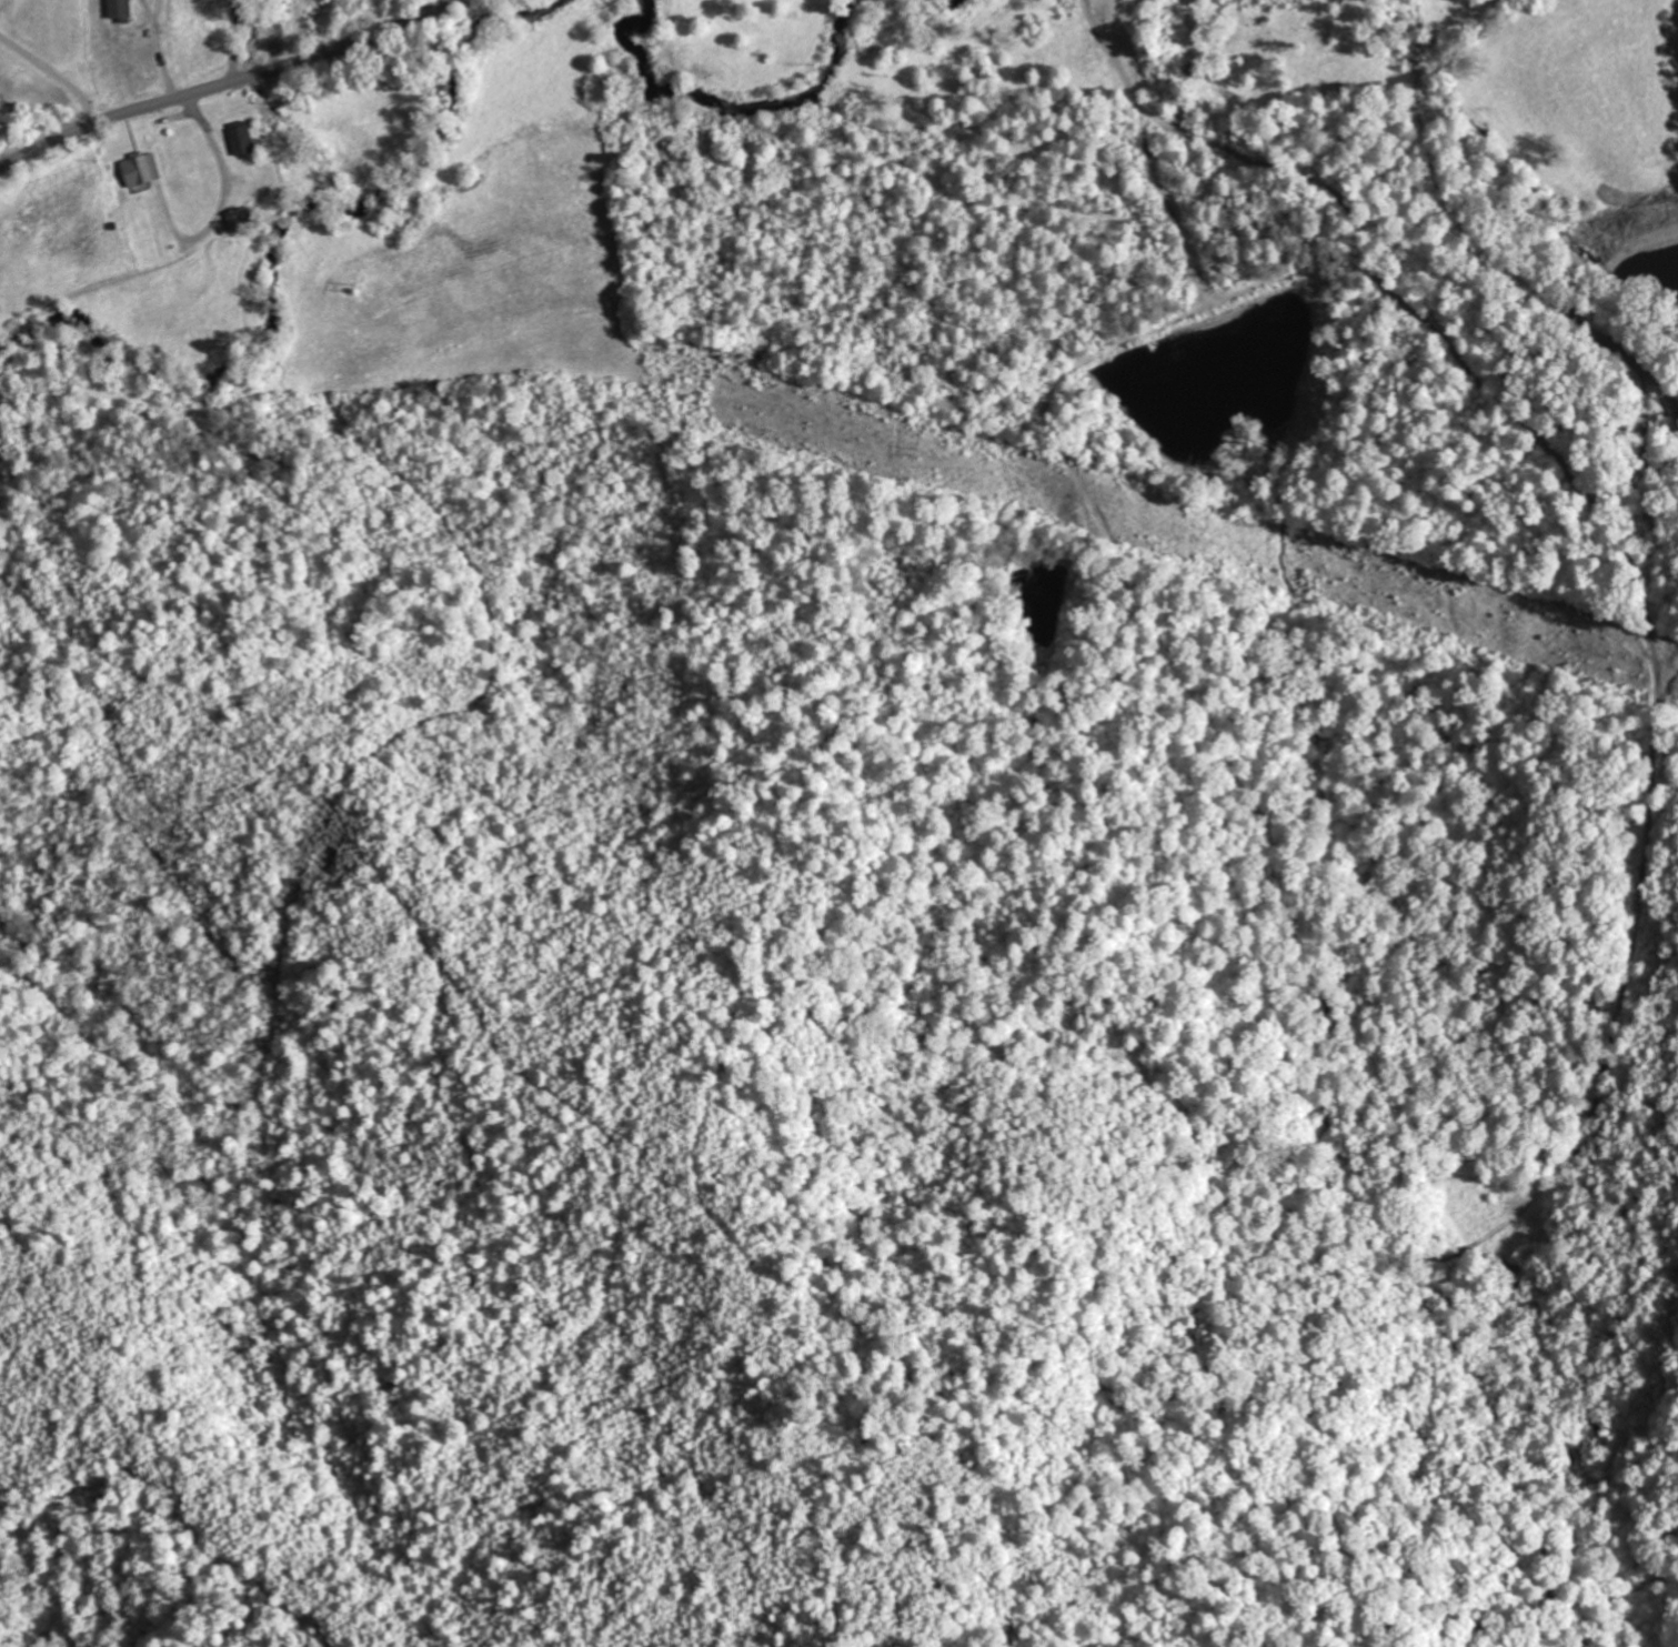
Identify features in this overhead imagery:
building: (118, 10)
road: (153, 56)
road: (64, 68)
road: (225, 86)
building: (140, 171)
building: (238, 221)

